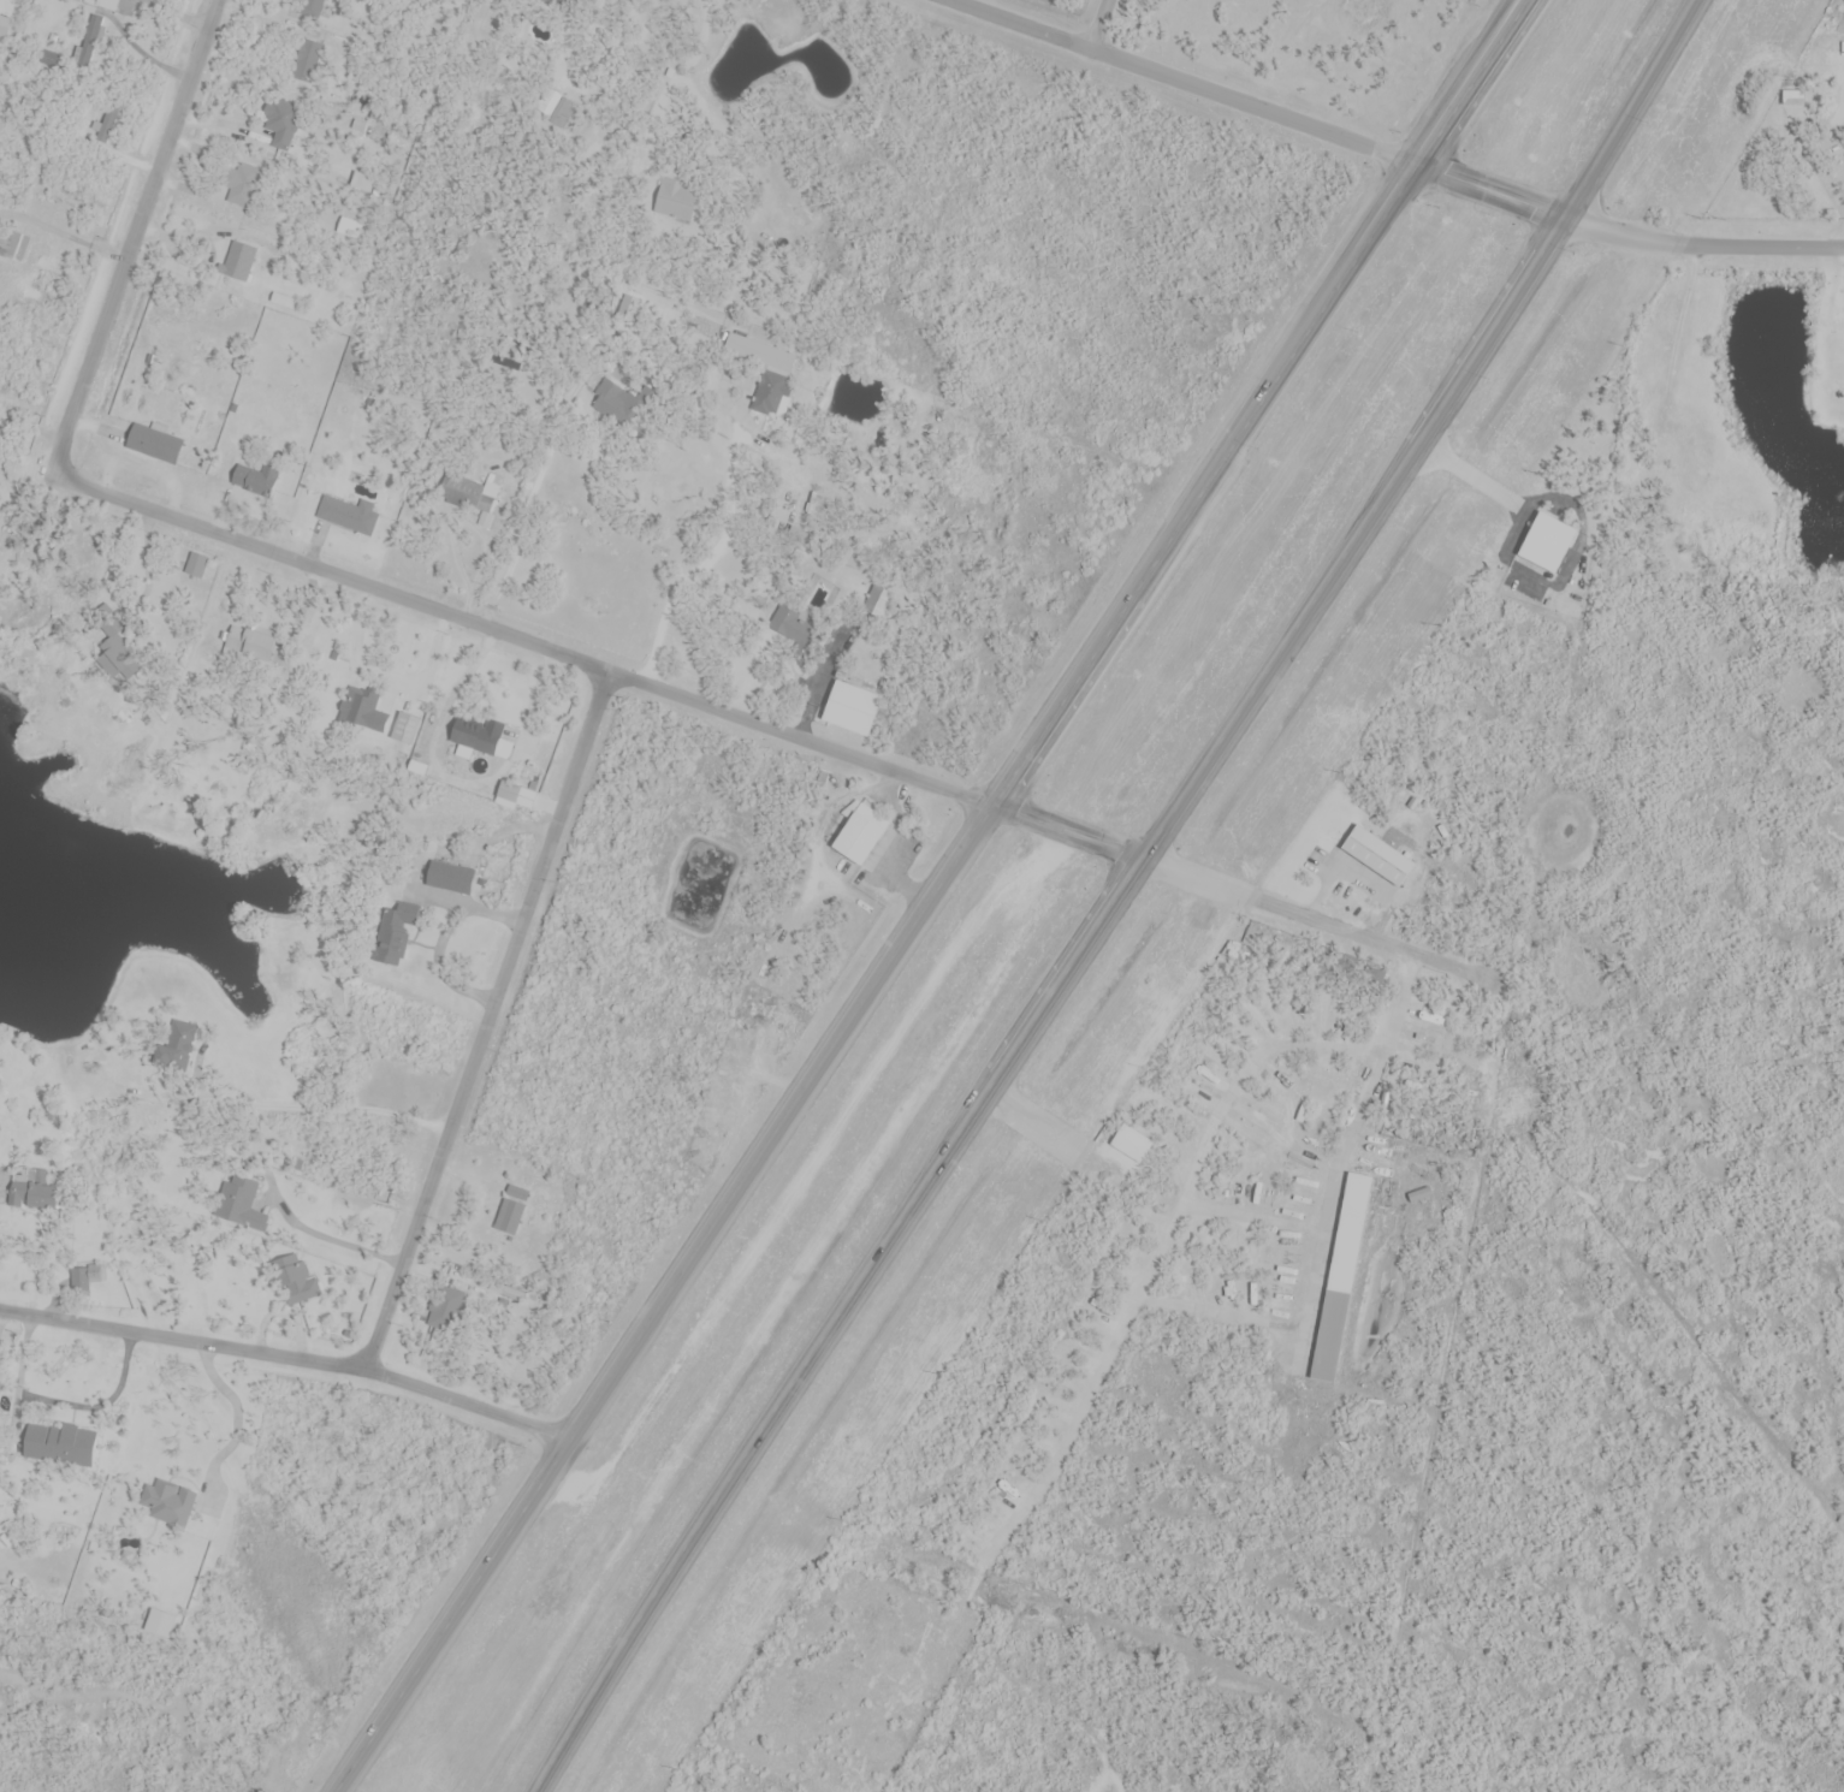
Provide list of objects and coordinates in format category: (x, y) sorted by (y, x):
building: (107, 5)
road: (1101, 26)
road: (1500, 29)
building: (308, 58)
road: (1178, 82)
road: (1469, 82)
building: (1792, 95)
building: (553, 108)
building: (280, 124)
building: (242, 185)
building: (676, 202)
road: (1624, 233)
building: (14, 248)
building: (243, 265)
building: (629, 314)
building: (1837, 321)
building: (759, 354)
building: (771, 390)
building: (612, 399)
road: (1425, 435)
building: (153, 445)
building: (255, 482)
building: (469, 493)
building: (348, 516)
building: (1544, 539)
building: (195, 566)
road: (360, 581)
building: (878, 603)
building: (790, 629)
building: (248, 645)
building: (848, 710)
building: (364, 712)
building: (404, 729)
building: (474, 735)
road: (455, 781)
building: (508, 794)
building: (859, 836)
building: (1374, 852)
building: (449, 879)
road: (1318, 919)
building: (396, 936)
road: (878, 980)
road: (487, 1022)
building: (177, 1050)
road: (319, 1106)
building: (1131, 1145)
road: (1338, 1157)
road: (1, 1177)
building: (38, 1198)
building: (248, 1209)
building: (511, 1211)
road: (330, 1239)
building: (1339, 1275)
building: (88, 1280)
building: (294, 1281)
road: (835, 1323)
road: (287, 1357)
road: (20, 1366)
road: (235, 1424)
building: (58, 1446)

